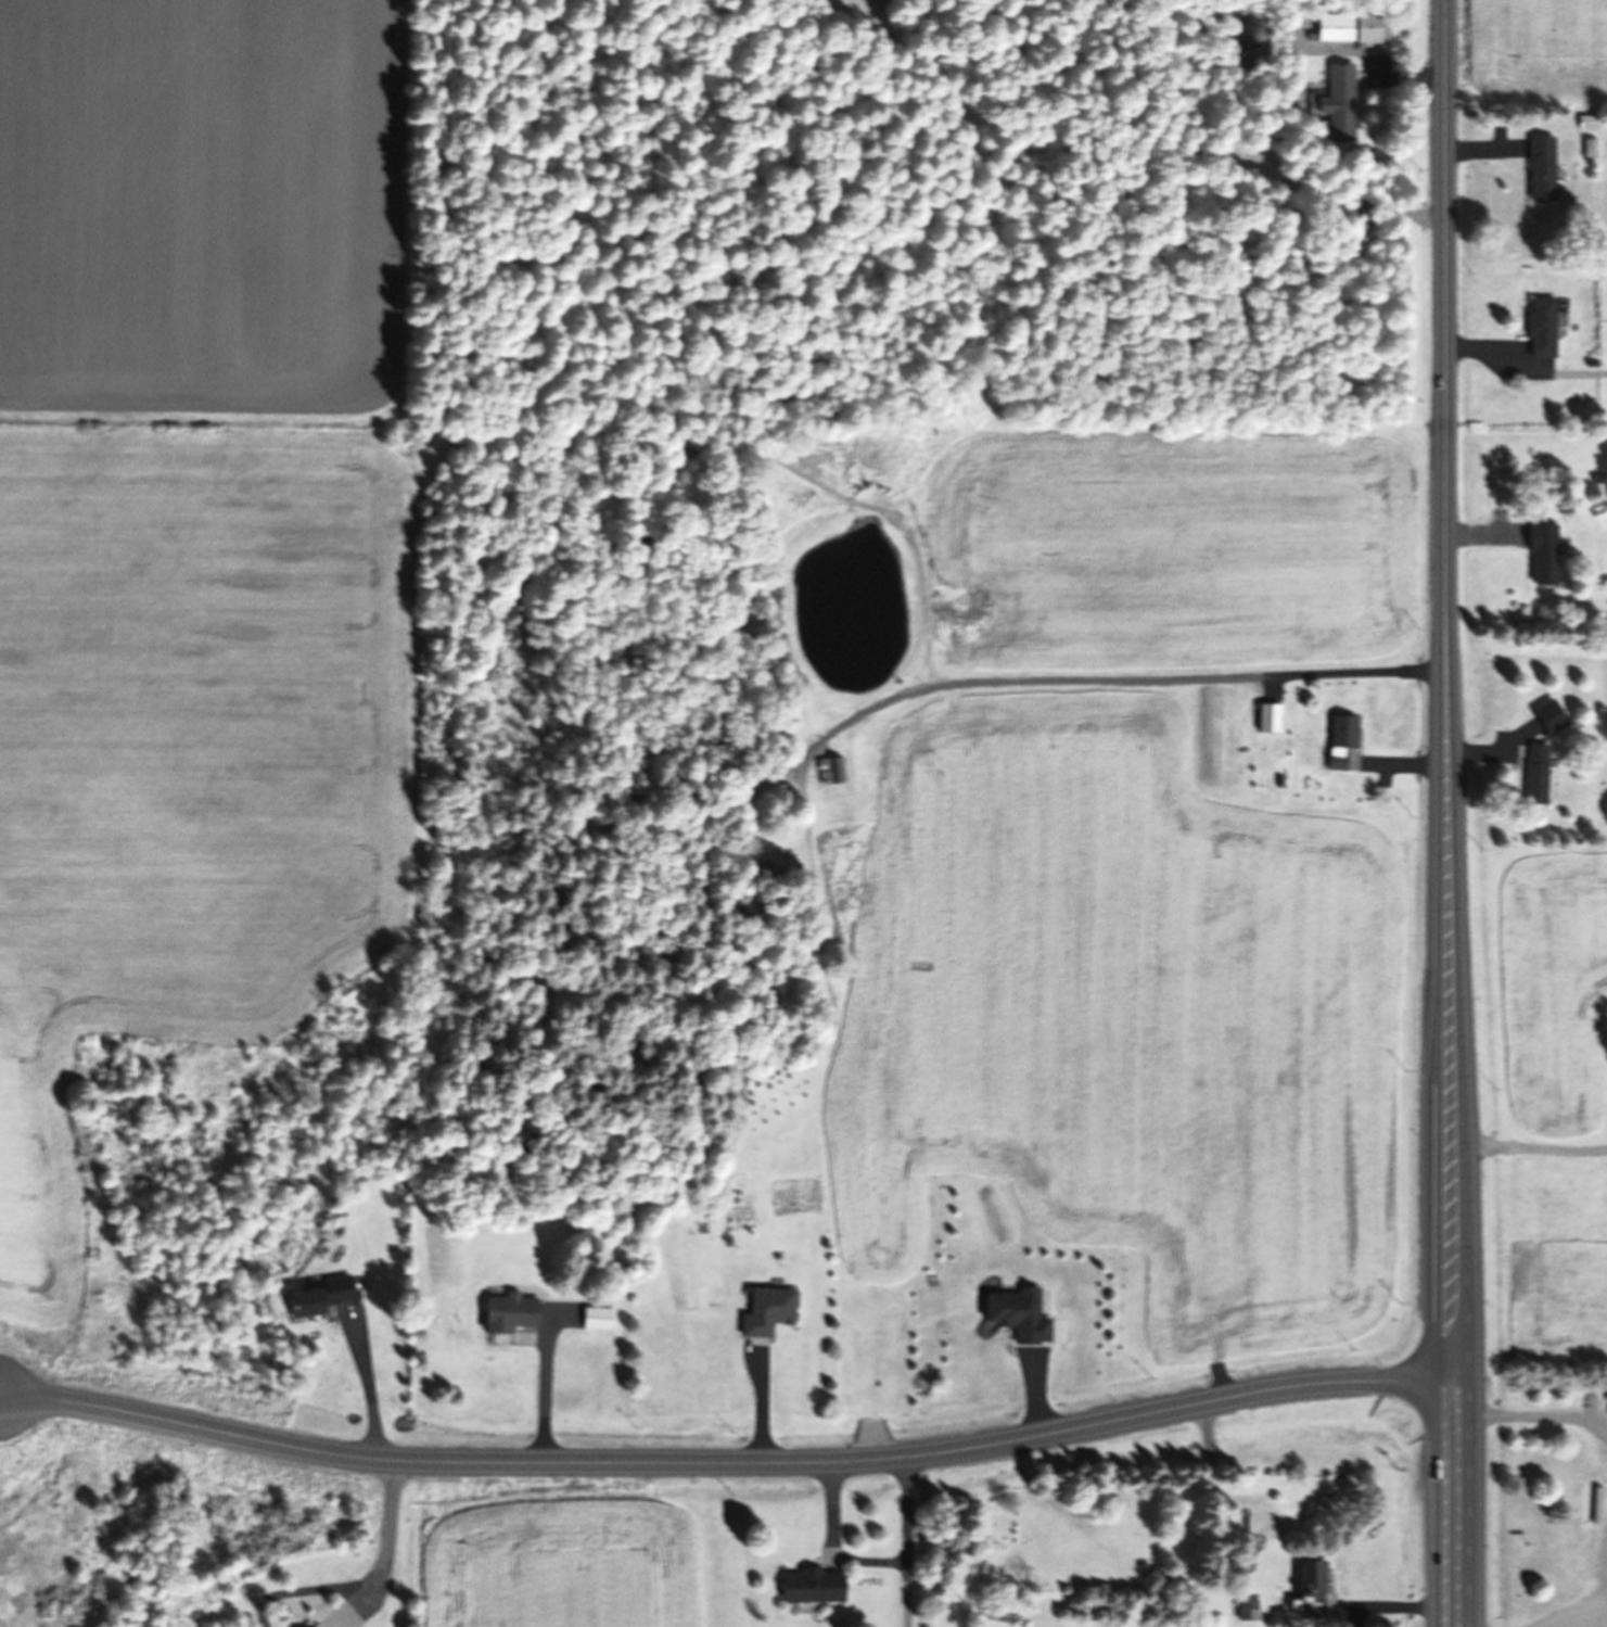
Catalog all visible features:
building: (1344, 25)
building: (1338, 101)
building: (1584, 122)
building: (1586, 147)
building: (1539, 167)
building: (1538, 327)
road: (1525, 366)
road: (1443, 468)
building: (1540, 551)
road: (1114, 676)
building: (1266, 716)
building: (1338, 738)
building: (828, 770)
building: (1533, 773)
building: (781, 868)
quarry: (183, 925)
road: (1440, 1282)
road: (1464, 1282)
building: (317, 1297)
building: (765, 1310)
building: (507, 1313)
building: (1016, 1313)
building: (594, 1317)
road: (1038, 1395)
road: (2, 1397)
road: (763, 1406)
road: (734, 1458)
road: (833, 1498)
road: (905, 1531)
building: (808, 1585)
building: (1306, 1590)
building: (1243, 1609)

